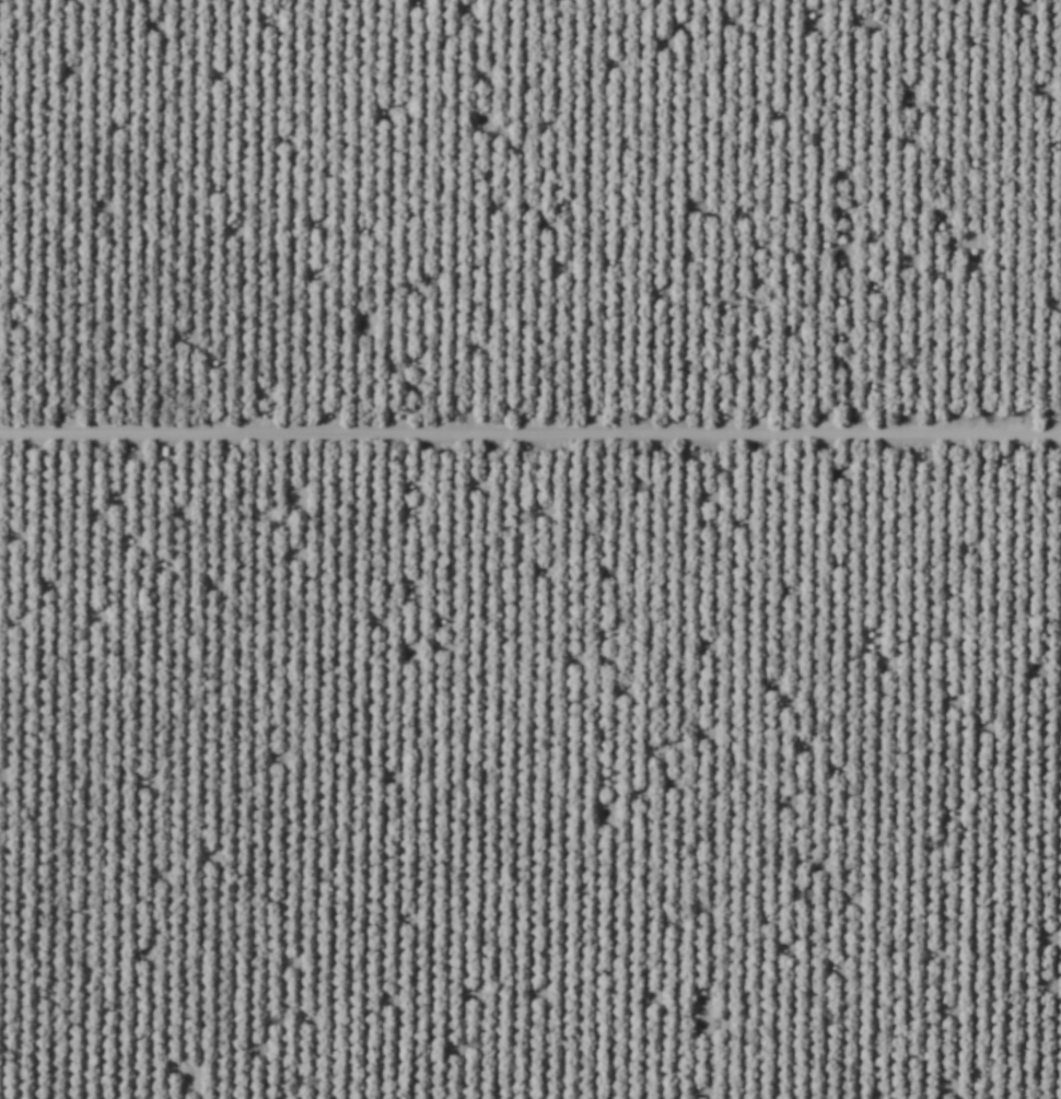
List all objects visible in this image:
crop: (530, 549)

